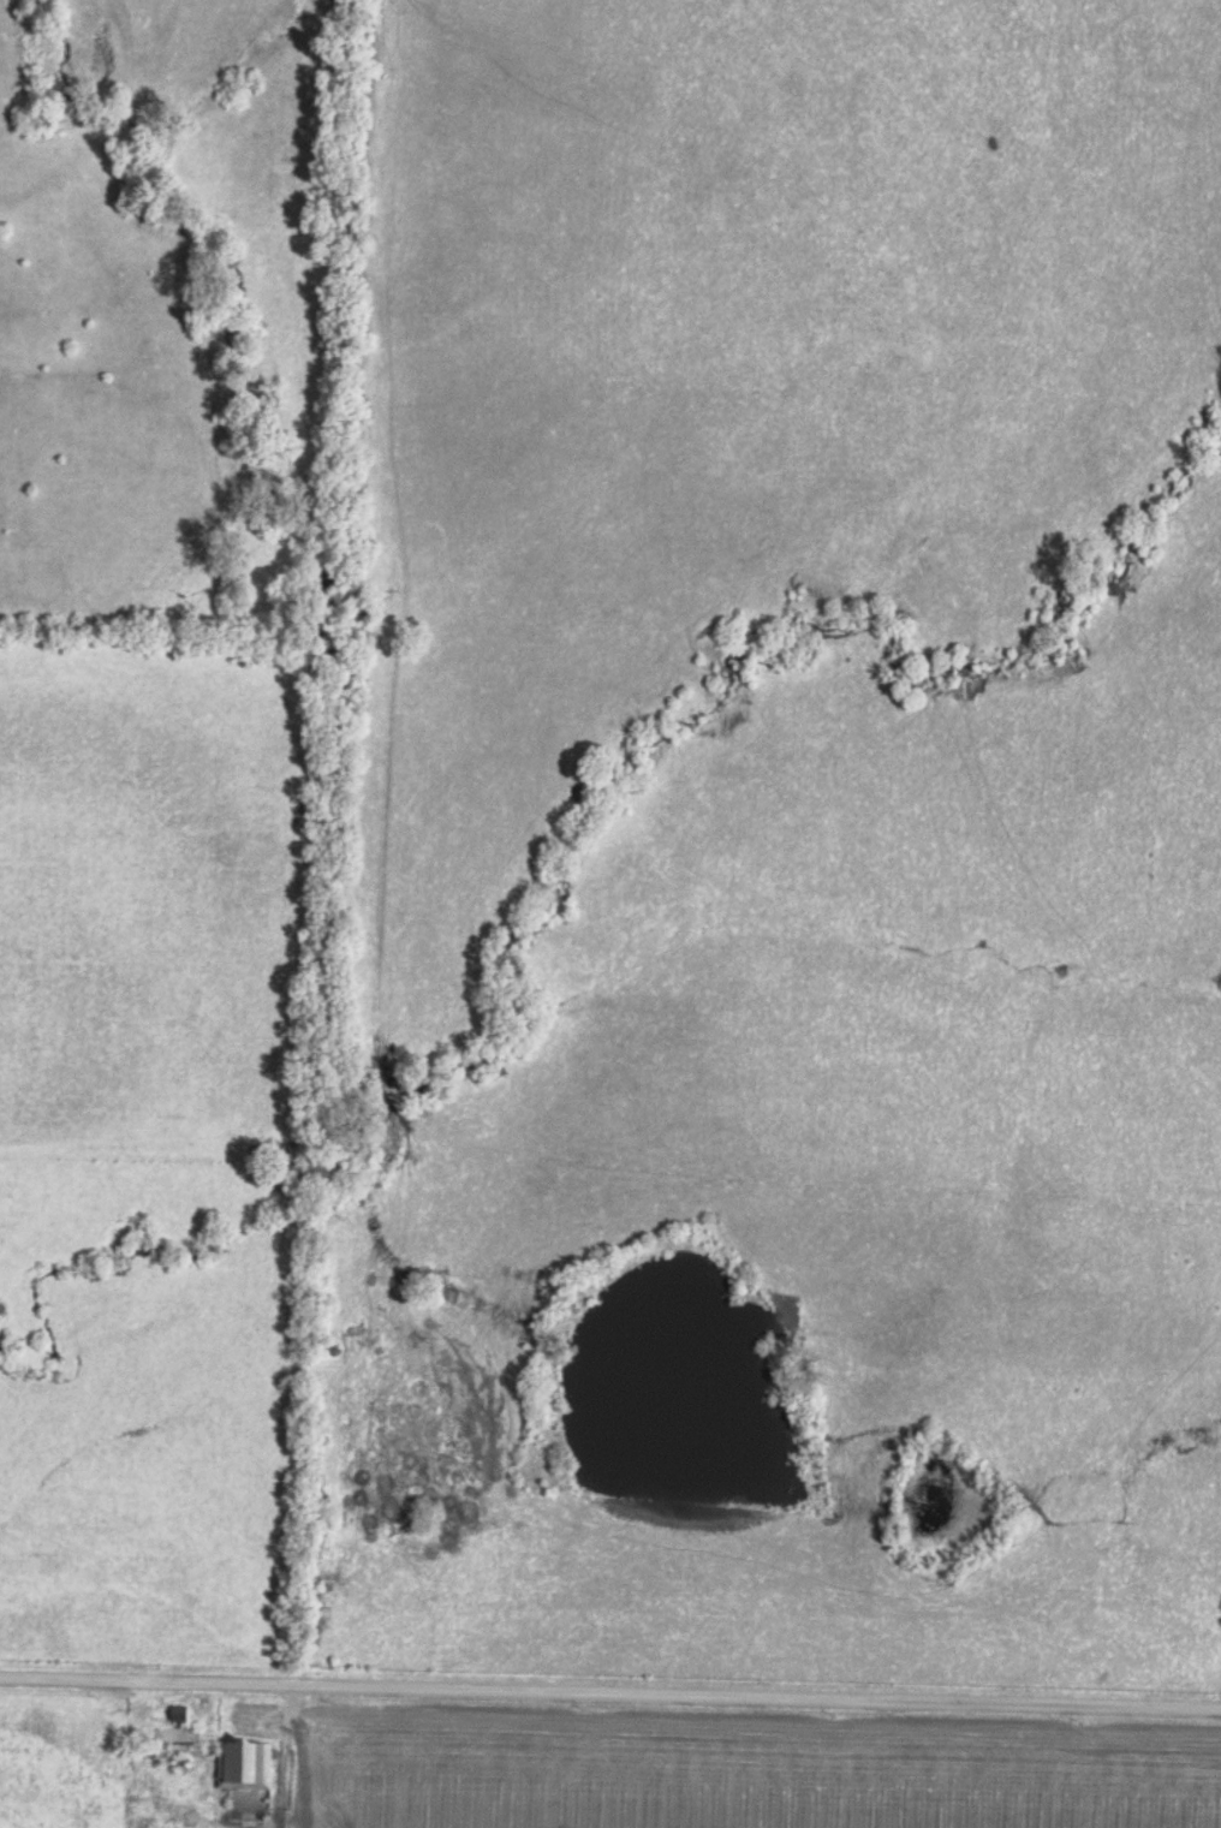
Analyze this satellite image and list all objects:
road: (610, 1696)
building: (175, 1714)
building: (171, 1737)
building: (242, 1766)

